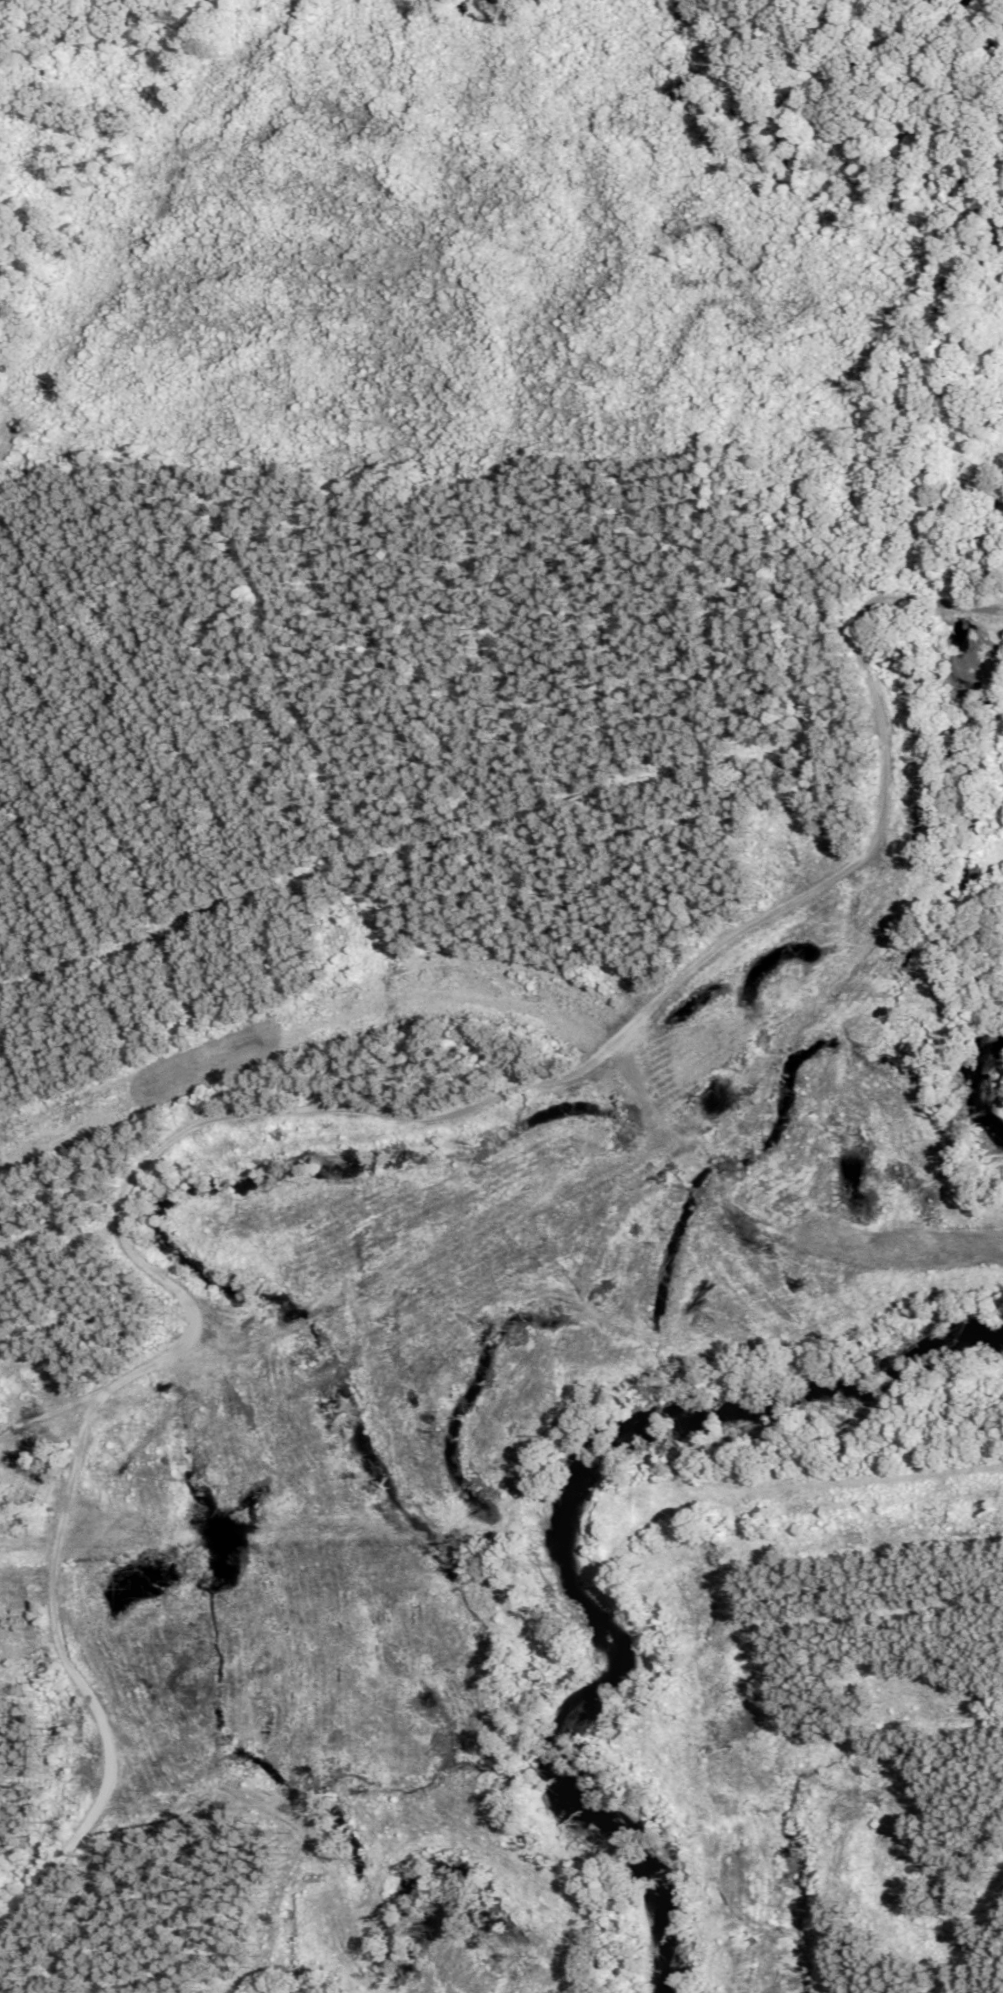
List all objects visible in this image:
river: (1000, 1007)
river: (979, 1077)
river: (570, 1546)
road: (30, 1840)

